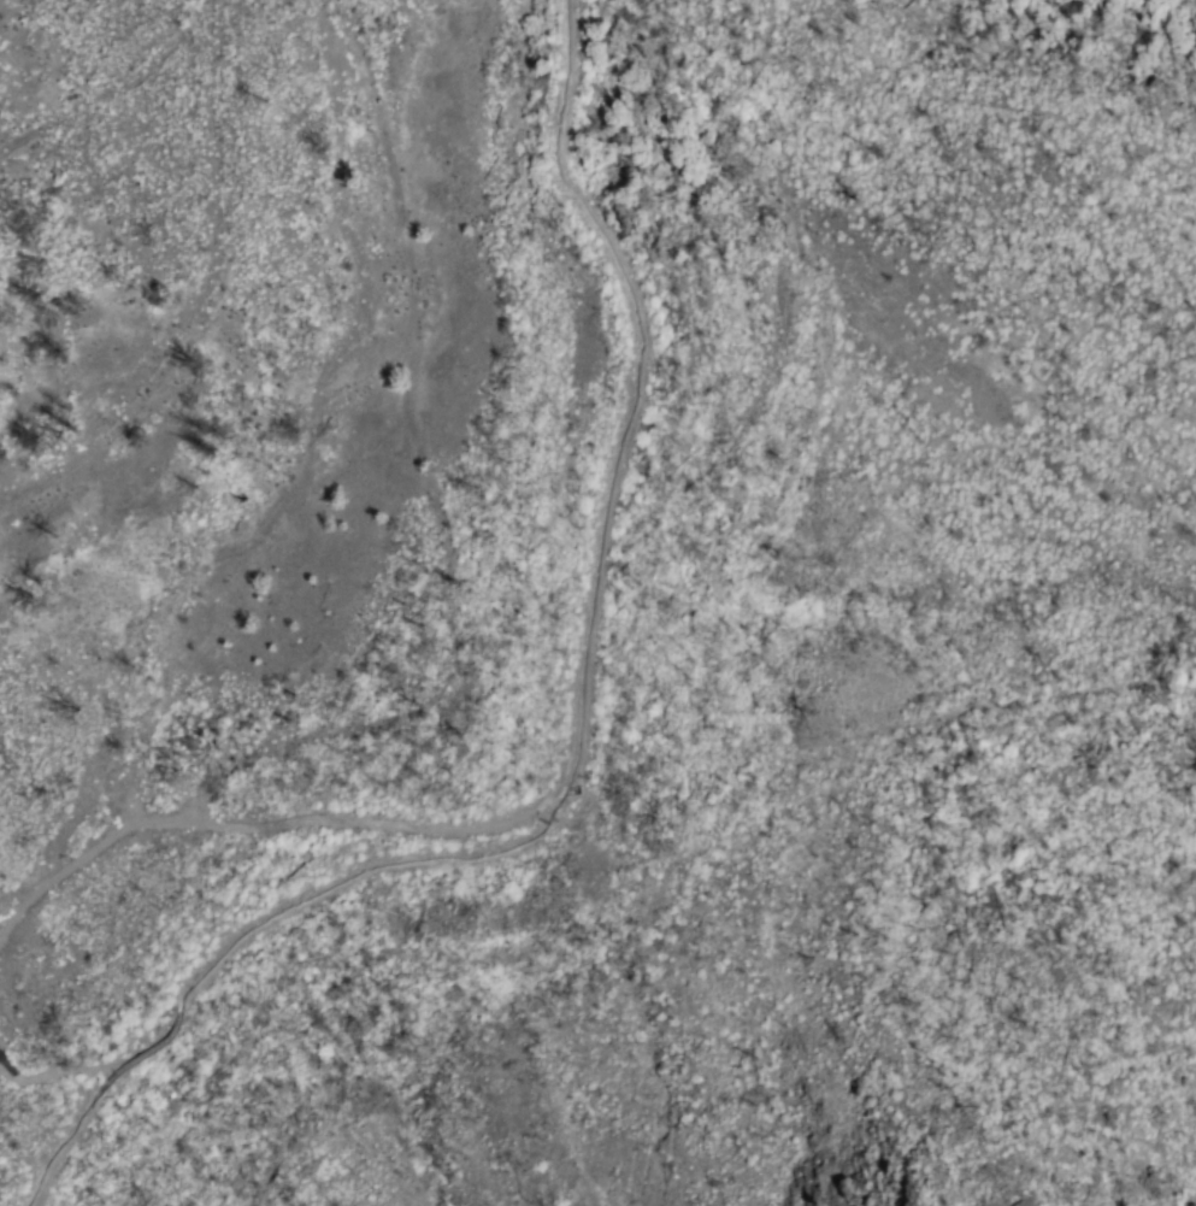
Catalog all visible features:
road: (431, 787)
road: (218, 795)

